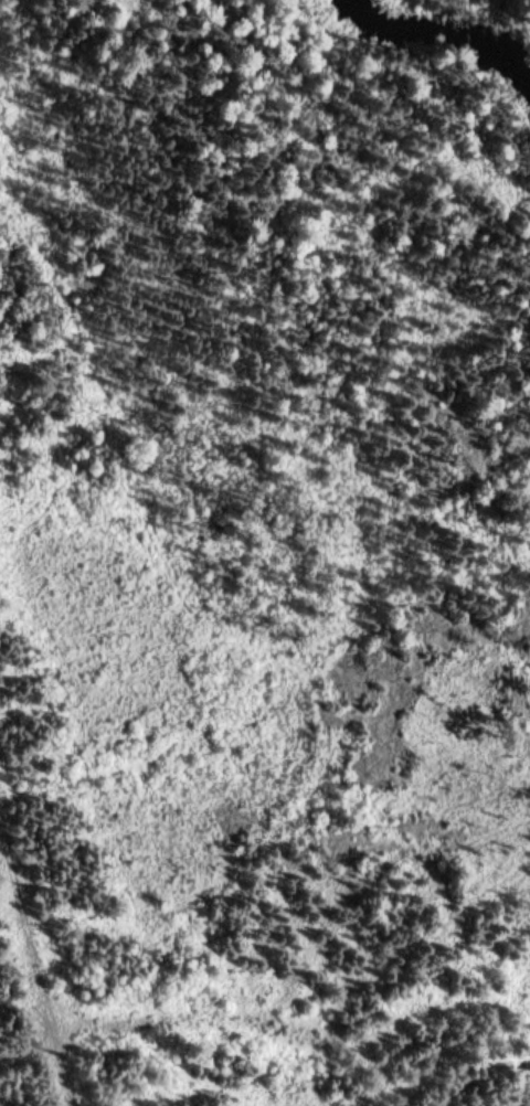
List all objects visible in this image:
river: (474, 40)

